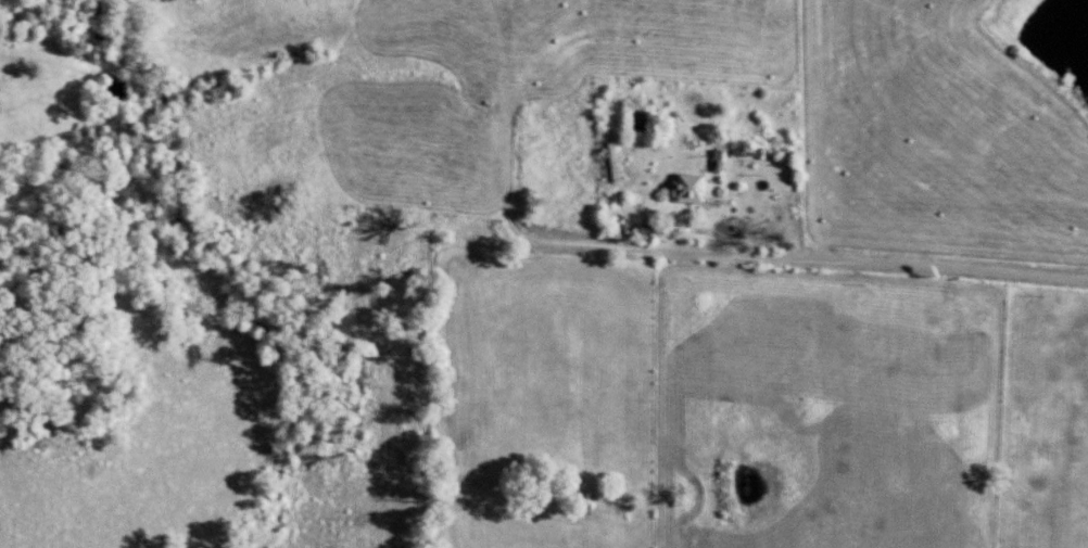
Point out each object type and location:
building: (696, 187)
road: (694, 252)
road: (942, 264)

